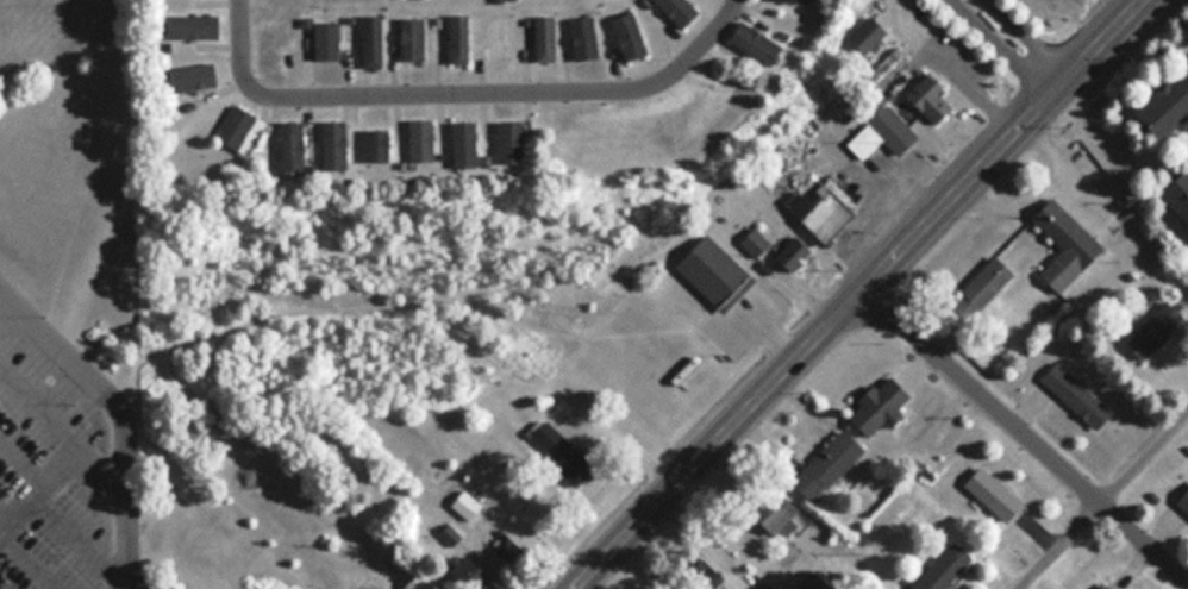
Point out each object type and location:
building: (799, 0)
building: (681, 11)
building: (196, 27)
building: (870, 33)
road: (1026, 36)
building: (500, 37)
building: (631, 37)
building: (459, 39)
building: (548, 39)
building: (586, 39)
building: (375, 42)
building: (757, 42)
road: (1001, 44)
building: (888, 65)
building: (198, 77)
road: (463, 93)
building: (933, 98)
building: (1167, 108)
building: (243, 130)
building: (886, 133)
building: (423, 140)
building: (511, 143)
building: (293, 145)
building: (336, 145)
building: (377, 145)
building: (464, 145)
building: (1180, 194)
building: (1068, 244)
building: (796, 251)
building: (715, 270)
building: (987, 284)
road: (852, 295)
building: (1156, 328)
building: (1078, 395)
building: (883, 405)
road: (38, 409)
road: (120, 411)
road: (1023, 438)
road: (24, 451)
building: (564, 452)
road: (1140, 455)
building: (831, 465)
road: (57, 468)
building: (995, 494)
building: (1184, 501)
building: (467, 506)
road: (6, 512)
road: (77, 535)
building: (514, 544)
road: (1050, 545)
road: (35, 557)
building: (945, 566)
building: (423, 582)
building: (765, 585)

